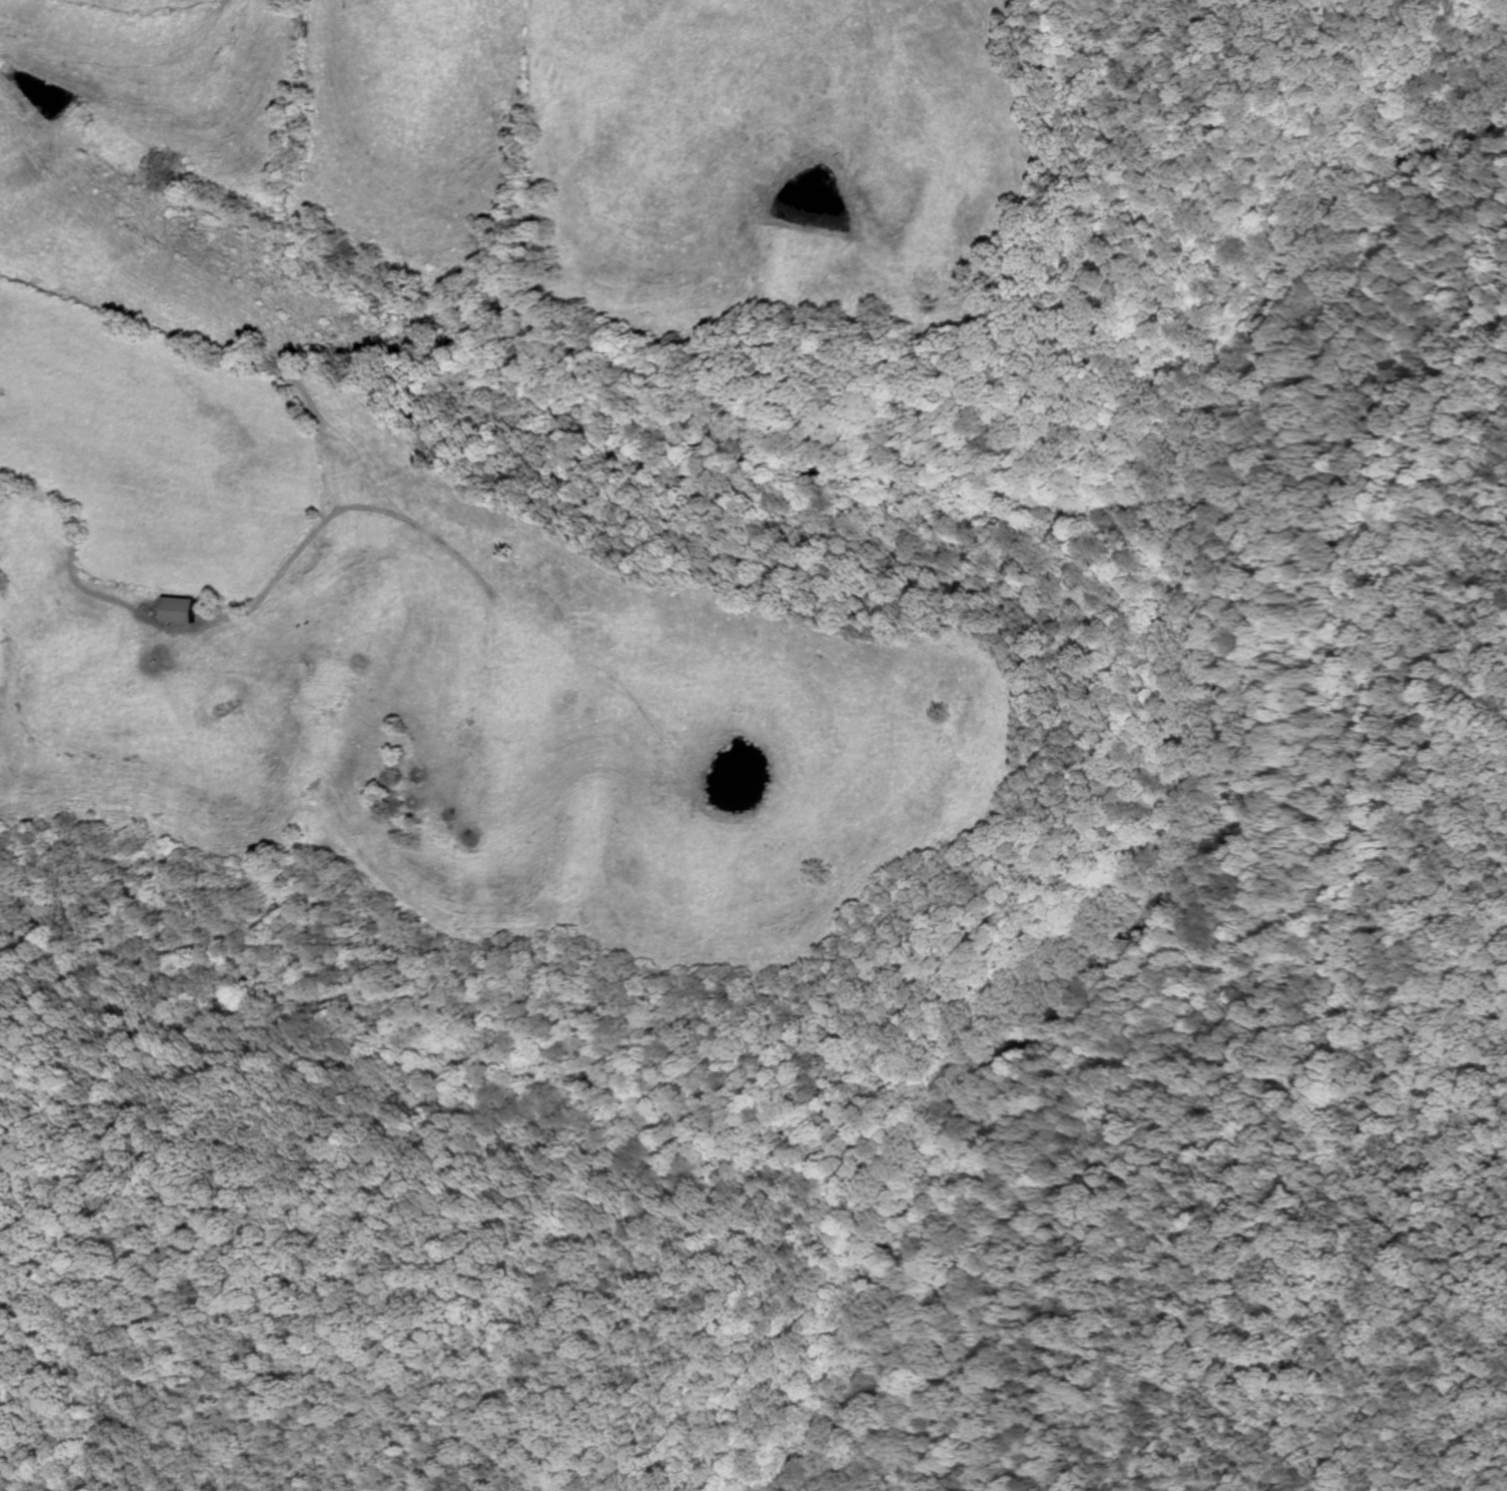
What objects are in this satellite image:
road: (67, 554)

